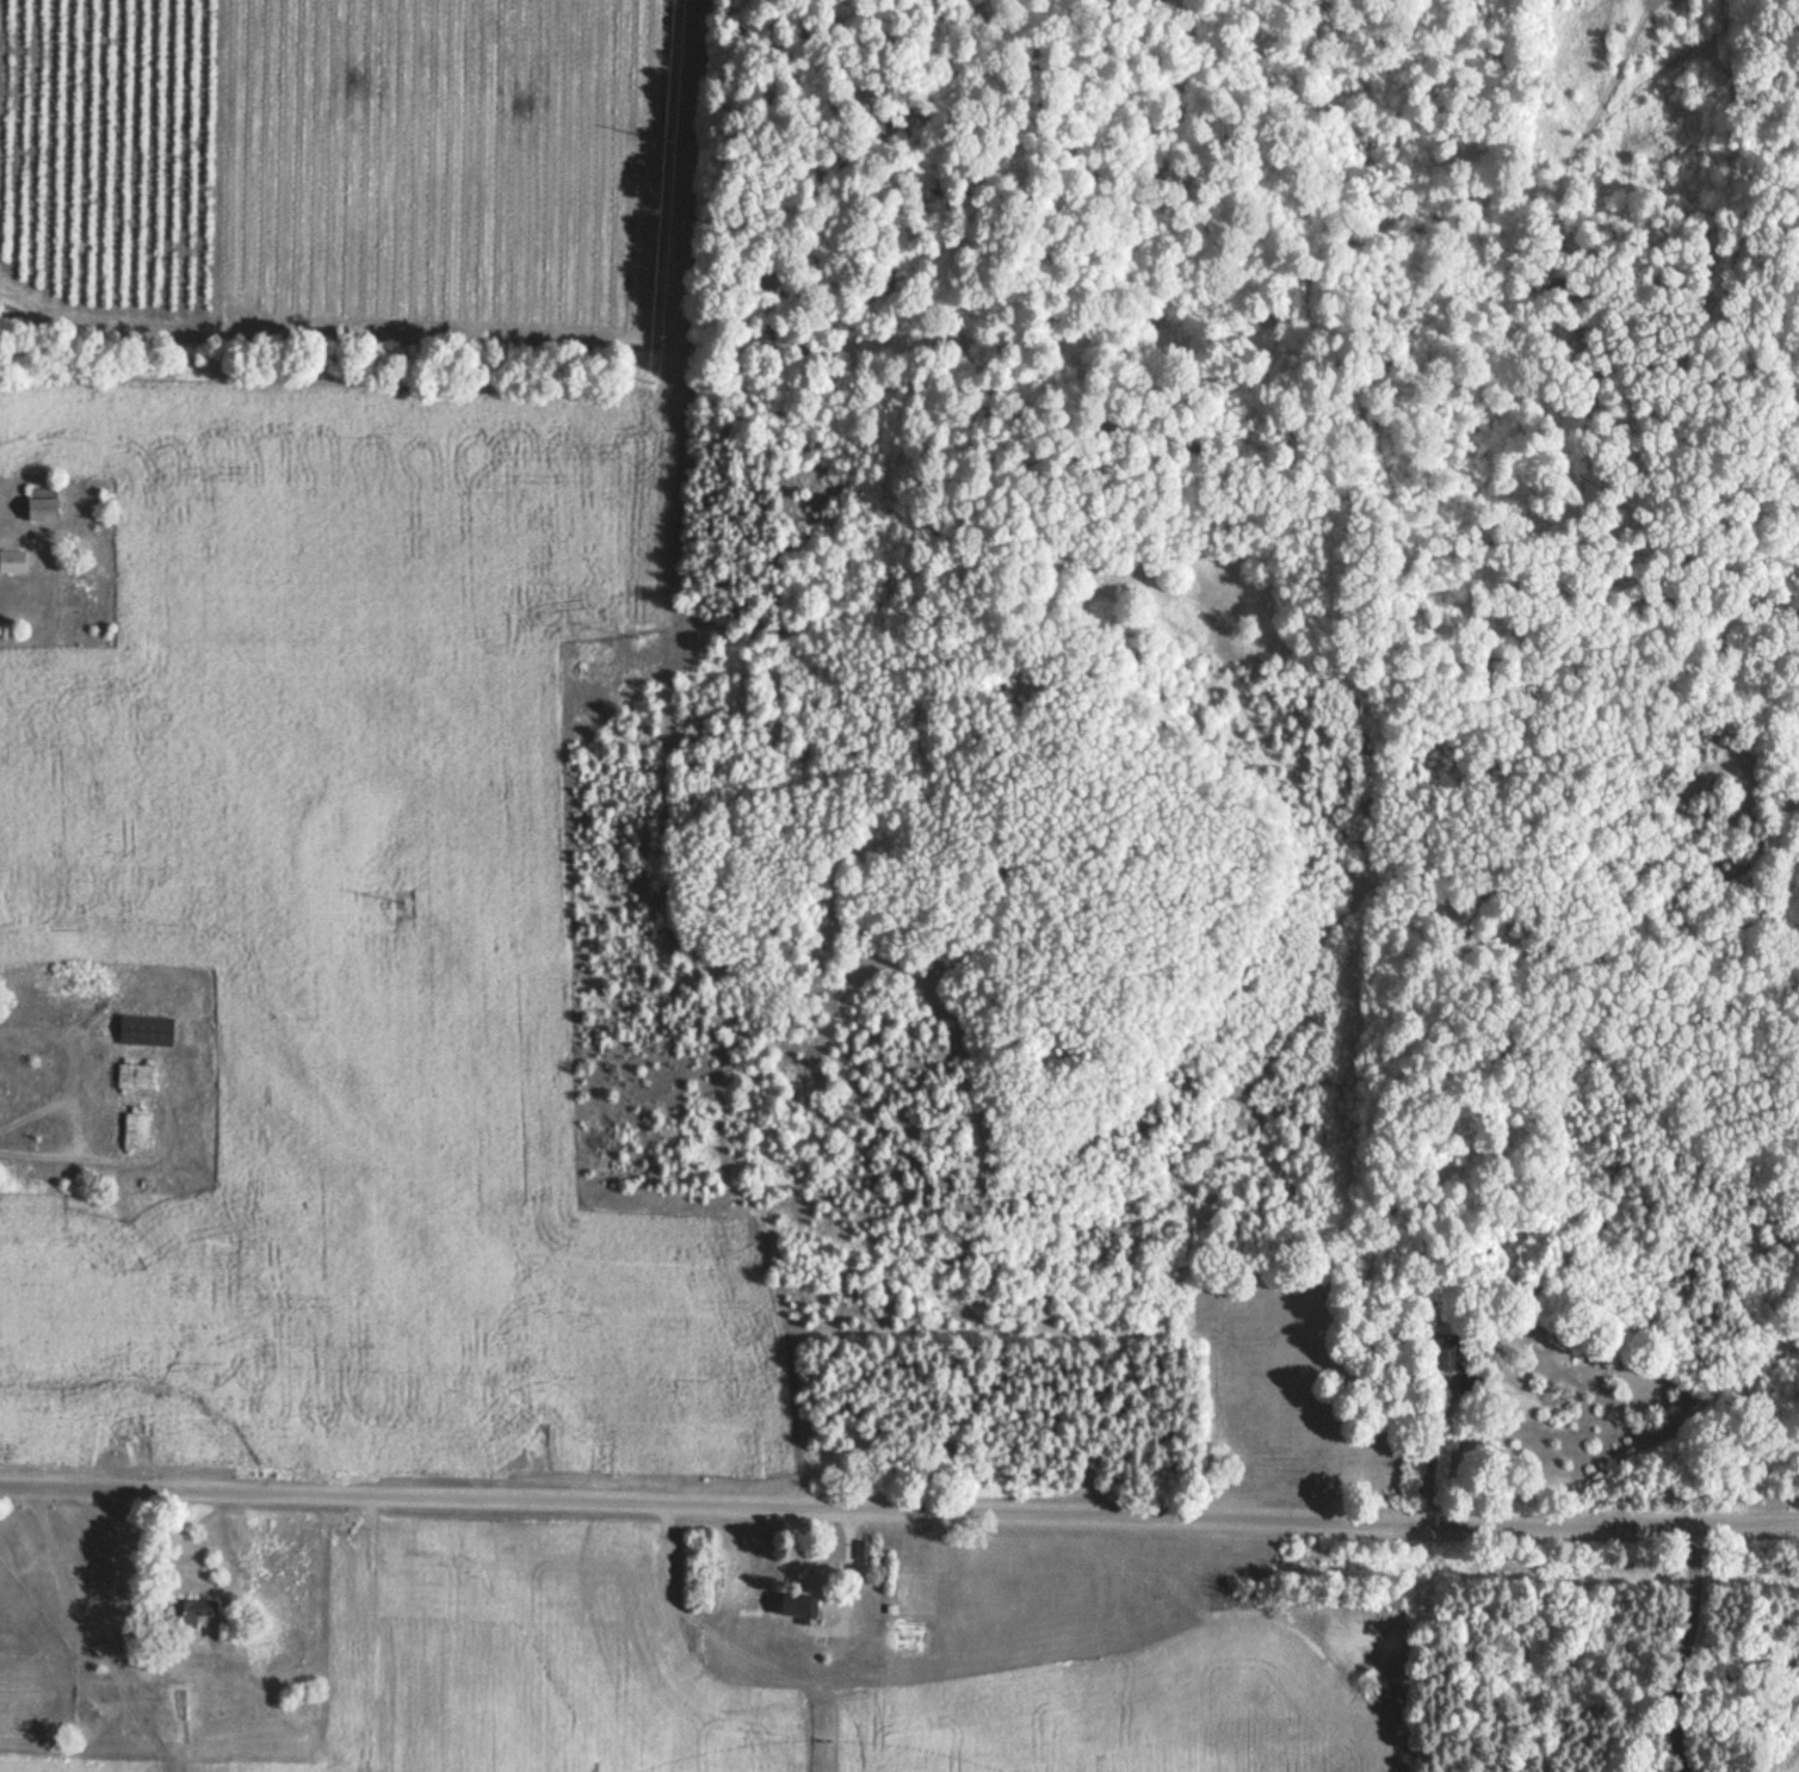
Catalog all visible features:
building: (38, 506)
building: (13, 563)
building: (143, 1032)
building: (132, 1078)
building: (135, 1131)
building: (1443, 1356)
road: (898, 1492)
building: (1055, 1591)
building: (796, 1606)
building: (192, 1613)
building: (277, 1642)

